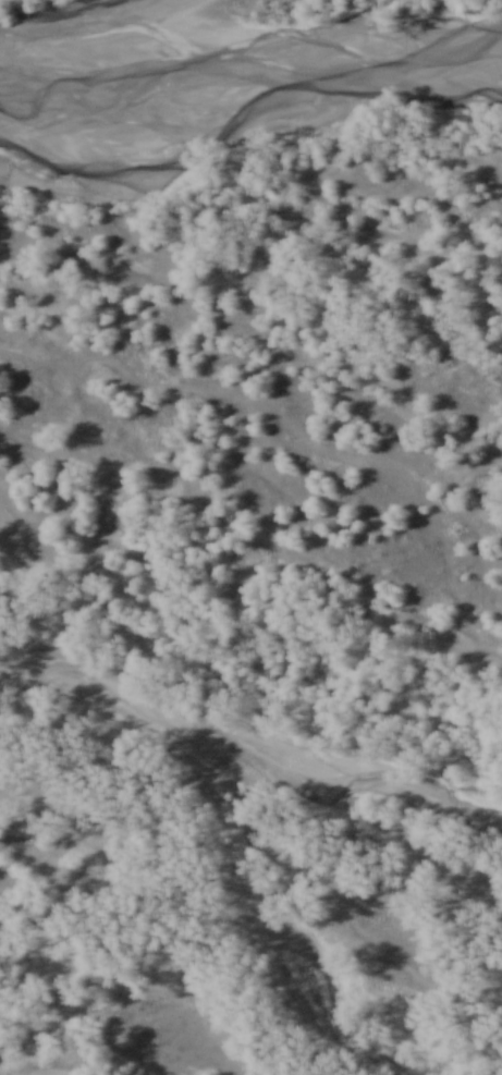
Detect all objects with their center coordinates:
river: (250, 107)

